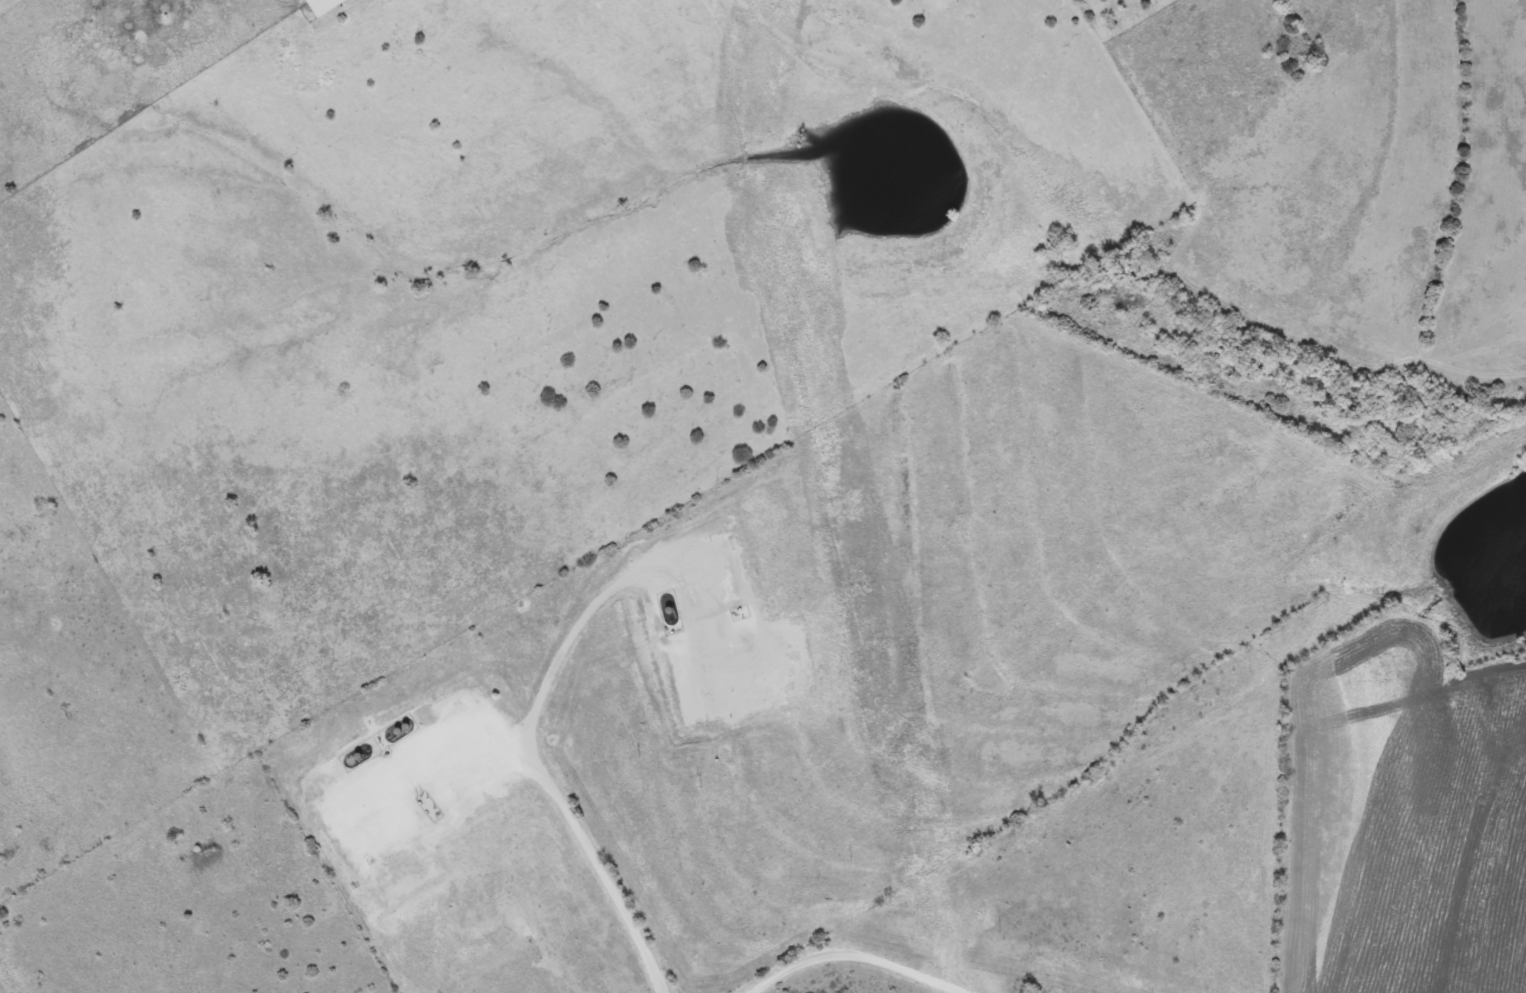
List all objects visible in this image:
road: (556, 798)
road: (852, 955)

